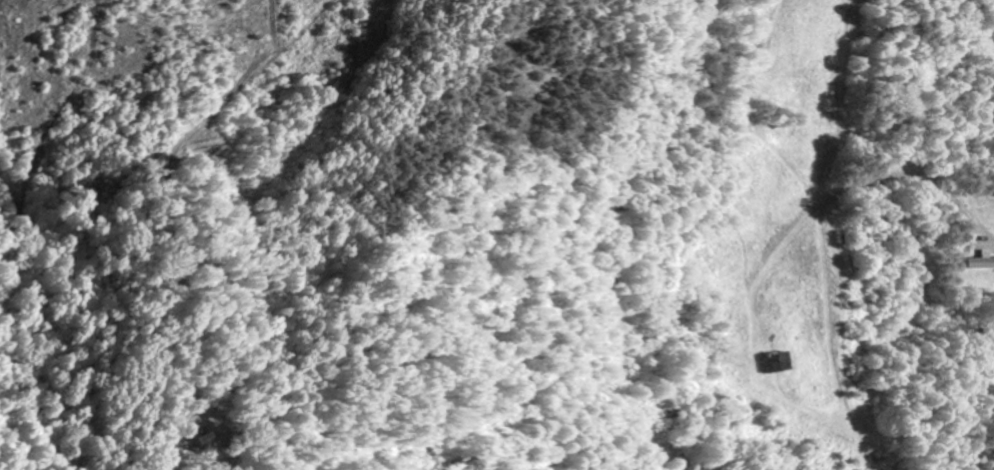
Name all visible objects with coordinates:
building: (978, 262)
building: (763, 362)

